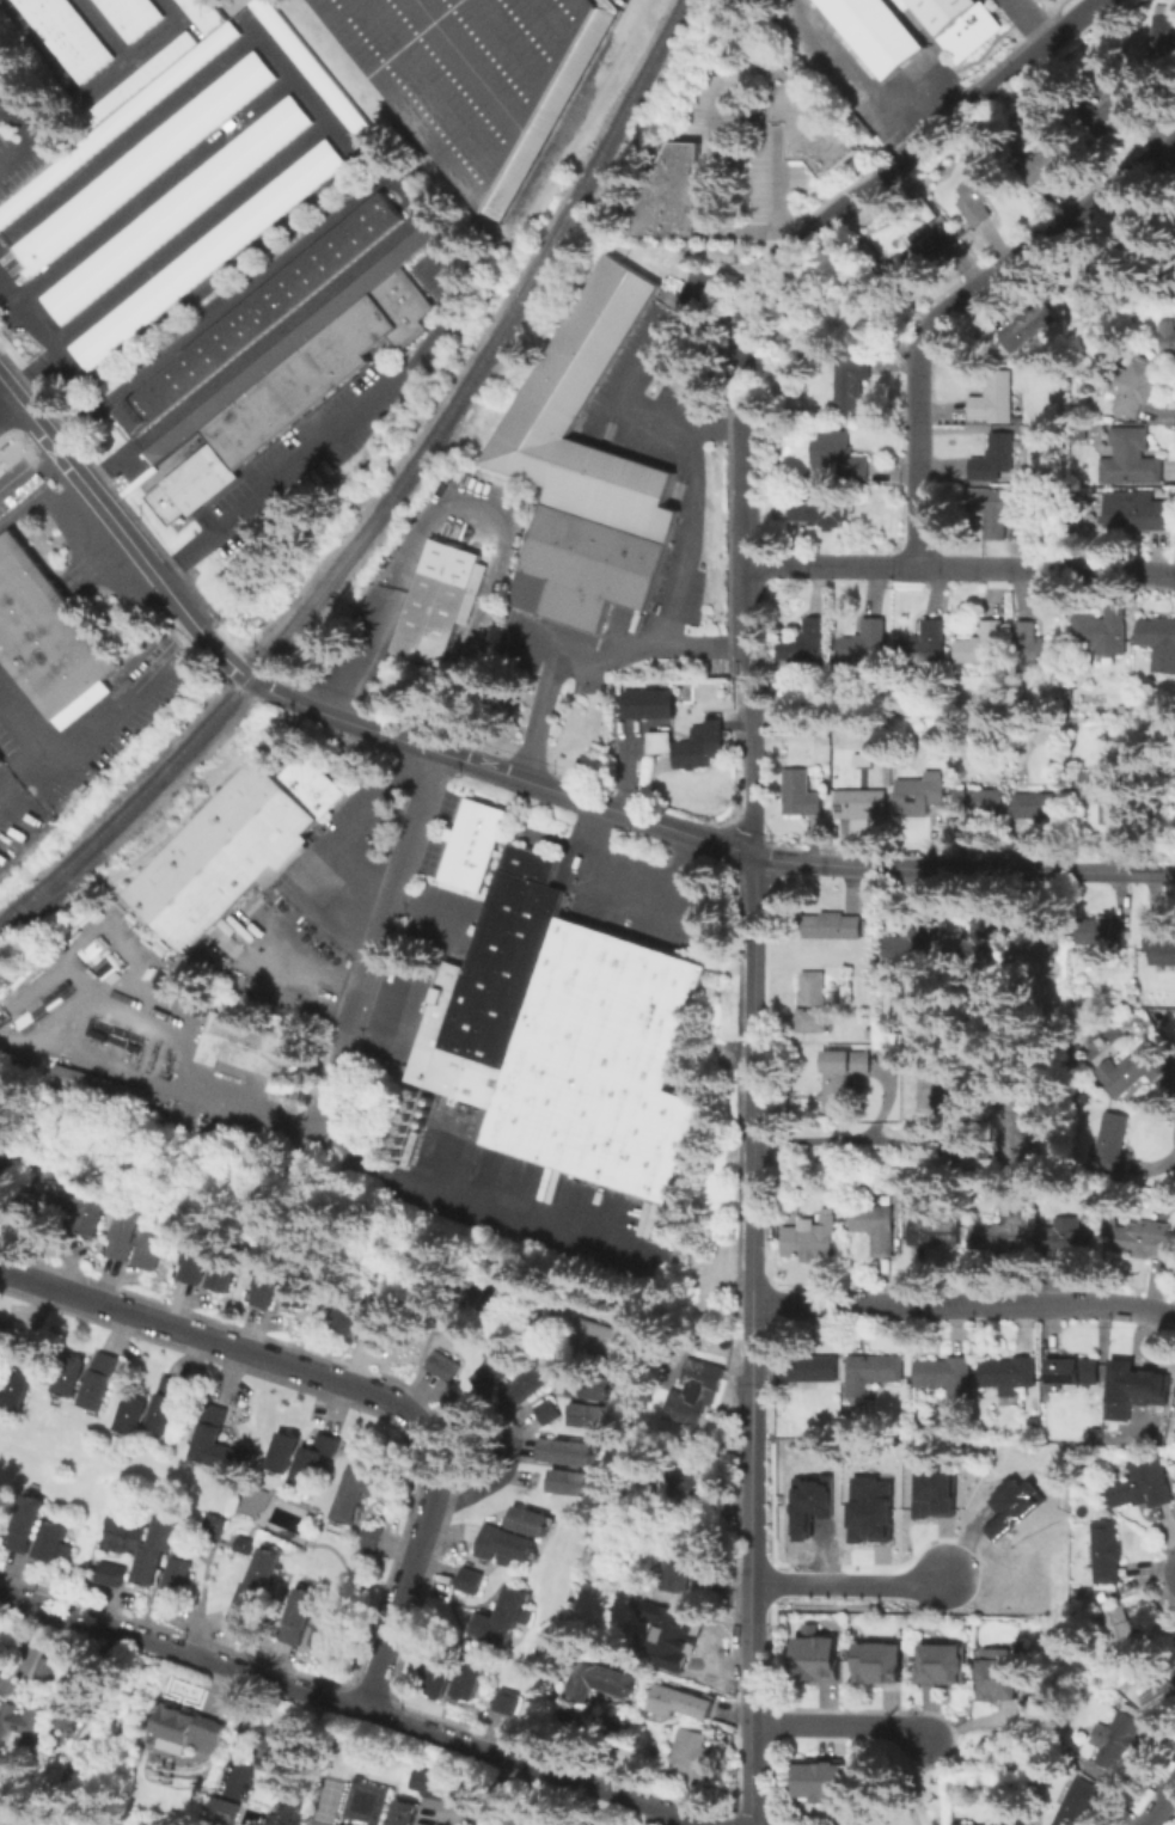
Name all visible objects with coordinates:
building: (130, 14)
building: (202, 14)
road: (1034, 18)
building: (953, 23)
road: (105, 30)
building: (871, 32)
building: (66, 33)
building: (1162, 38)
building: (479, 74)
building: (317, 75)
building: (139, 78)
road: (88, 90)
building: (1116, 108)
building: (116, 120)
building: (806, 120)
road: (328, 121)
road: (31, 130)
road: (922, 141)
building: (1047, 161)
building: (141, 163)
road: (712, 184)
road: (154, 186)
building: (980, 188)
road: (778, 192)
building: (669, 194)
road: (405, 195)
building: (176, 209)
road: (190, 231)
building: (922, 250)
building: (206, 253)
building: (1090, 272)
road: (747, 298)
road: (955, 306)
building: (386, 312)
building: (256, 316)
building: (1029, 329)
road: (51, 338)
building: (290, 341)
building: (1169, 344)
building: (333, 353)
building: (300, 380)
building: (847, 388)
building: (1137, 390)
building: (996, 400)
road: (6, 402)
building: (267, 408)
road: (716, 428)
road: (336, 434)
building: (233, 435)
building: (838, 454)
building: (997, 461)
building: (1133, 461)
building: (588, 470)
road: (29, 478)
road: (79, 480)
building: (190, 482)
railway: (388, 500)
road: (693, 502)
road: (472, 506)
building: (992, 513)
building: (1140, 513)
building: (821, 514)
road: (961, 565)
road: (748, 582)
building: (440, 604)
road: (200, 631)
building: (1101, 633)
building: (48, 636)
building: (864, 643)
building: (924, 644)
building: (980, 645)
building: (1159, 645)
building: (803, 648)
building: (1034, 648)
road: (592, 655)
building: (647, 703)
road: (96, 712)
building: (691, 742)
road: (39, 749)
building: (0, 758)
building: (0, 767)
road: (496, 772)
building: (1106, 795)
building: (801, 796)
building: (919, 797)
building: (862, 803)
building: (983, 803)
building: (1040, 808)
road: (341, 837)
building: (472, 843)
building: (235, 847)
road: (760, 858)
road: (888, 868)
road: (1036, 871)
road: (1120, 872)
road: (626, 892)
building: (833, 929)
building: (1093, 933)
road: (375, 939)
building: (972, 943)
building: (1158, 945)
building: (911, 948)
building: (1030, 951)
building: (489, 982)
building: (814, 1005)
building: (255, 1051)
building: (605, 1064)
building: (1133, 1071)
building: (843, 1080)
building: (94, 1085)
road: (218, 1088)
building: (948, 1098)
building: (1017, 1132)
road: (865, 1138)
road: (748, 1146)
building: (1113, 1149)
building: (81, 1211)
building: (1005, 1230)
building: (876, 1231)
building: (936, 1233)
building: (137, 1238)
building: (1070, 1238)
building: (1140, 1238)
building: (807, 1243)
building: (192, 1260)
building: (222, 1270)
building: (263, 1286)
building: (298, 1290)
building: (473, 1291)
road: (962, 1305)
building: (350, 1306)
building: (374, 1313)
building: (598, 1336)
building: (441, 1365)
building: (820, 1371)
building: (876, 1371)
building: (1075, 1372)
building: (492, 1373)
building: (68, 1376)
building: (947, 1377)
building: (1009, 1379)
building: (98, 1380)
building: (522, 1384)
building: (1136, 1384)
road: (357, 1385)
building: (588, 1385)
building: (14, 1386)
building: (696, 1390)
building: (164, 1404)
building: (544, 1413)
building: (130, 1414)
building: (589, 1415)
building: (215, 1444)
building: (563, 1451)
building: (281, 1452)
building: (316, 1464)
building: (568, 1482)
road: (485, 1488)
building: (1142, 1488)
building: (356, 1490)
building: (936, 1492)
building: (687, 1494)
building: (812, 1505)
building: (1015, 1507)
building: (873, 1511)
building: (526, 1520)
building: (24, 1524)
building: (369, 1536)
building: (51, 1541)
building: (141, 1541)
building: (241, 1544)
building: (502, 1545)
building: (1104, 1554)
building: (681, 1564)
building: (106, 1573)
building: (172, 1578)
building: (466, 1579)
building: (1028, 1579)
road: (849, 1582)
building: (253, 1586)
building: (296, 1615)
building: (500, 1617)
building: (336, 1627)
building: (808, 1629)
road: (749, 1631)
building: (1124, 1636)
building: (674, 1654)
building: (820, 1661)
building: (882, 1666)
building: (944, 1666)
building: (48, 1671)
building: (1000, 1677)
building: (436, 1679)
building: (467, 1679)
building: (599, 1683)
building: (1161, 1695)
building: (504, 1700)
building: (681, 1702)
road: (356, 1707)
building: (71, 1723)
building: (23, 1725)
road: (842, 1726)
building: (192, 1733)
building: (1118, 1740)
building: (286, 1752)
building: (696, 1756)
park: (924, 1775)
building: (822, 1782)
building: (434, 1783)
road: (911, 1783)
building: (1081, 1801)
building: (380, 1806)
road: (1163, 1808)
building: (348, 1824)
building: (965, 1824)

